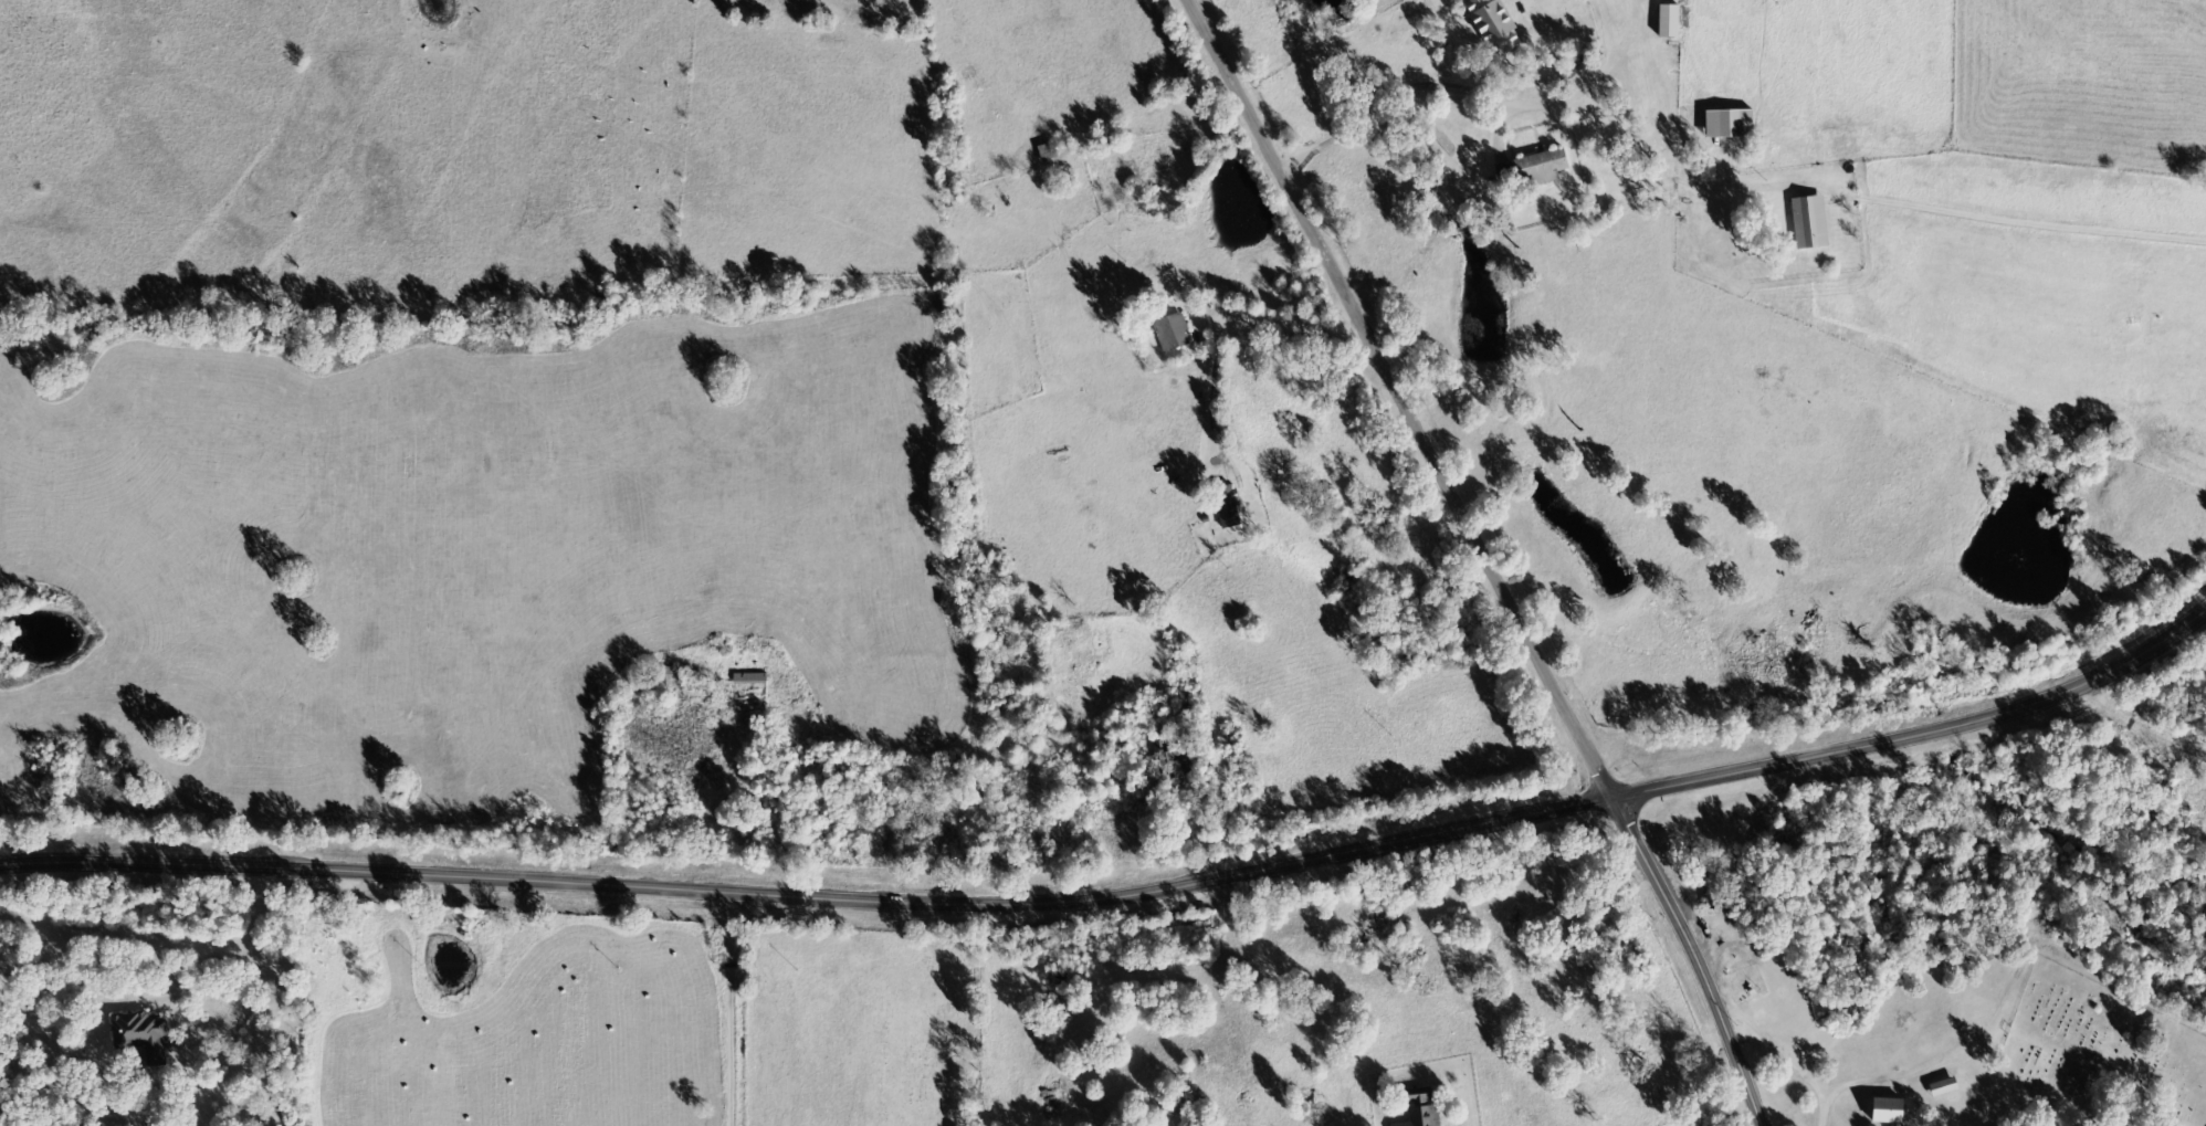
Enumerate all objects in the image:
building: (1670, 22)
building: (1494, 24)
road: (1249, 71)
road: (1472, 77)
building: (1731, 125)
building: (1541, 169)
building: (1811, 224)
road: (1905, 330)
building: (1173, 334)
road: (2038, 393)
road: (1442, 463)
building: (1229, 507)
building: (752, 677)
road: (2162, 708)
building: (1180, 765)
road: (1124, 892)
road: (1694, 957)
road: (715, 1009)
building: (148, 1035)
park: (2101, 1053)
building: (1961, 1076)
road: (1850, 1086)
road: (1831, 1097)
road: (1821, 1105)
building: (1888, 1109)
building: (1424, 1111)

